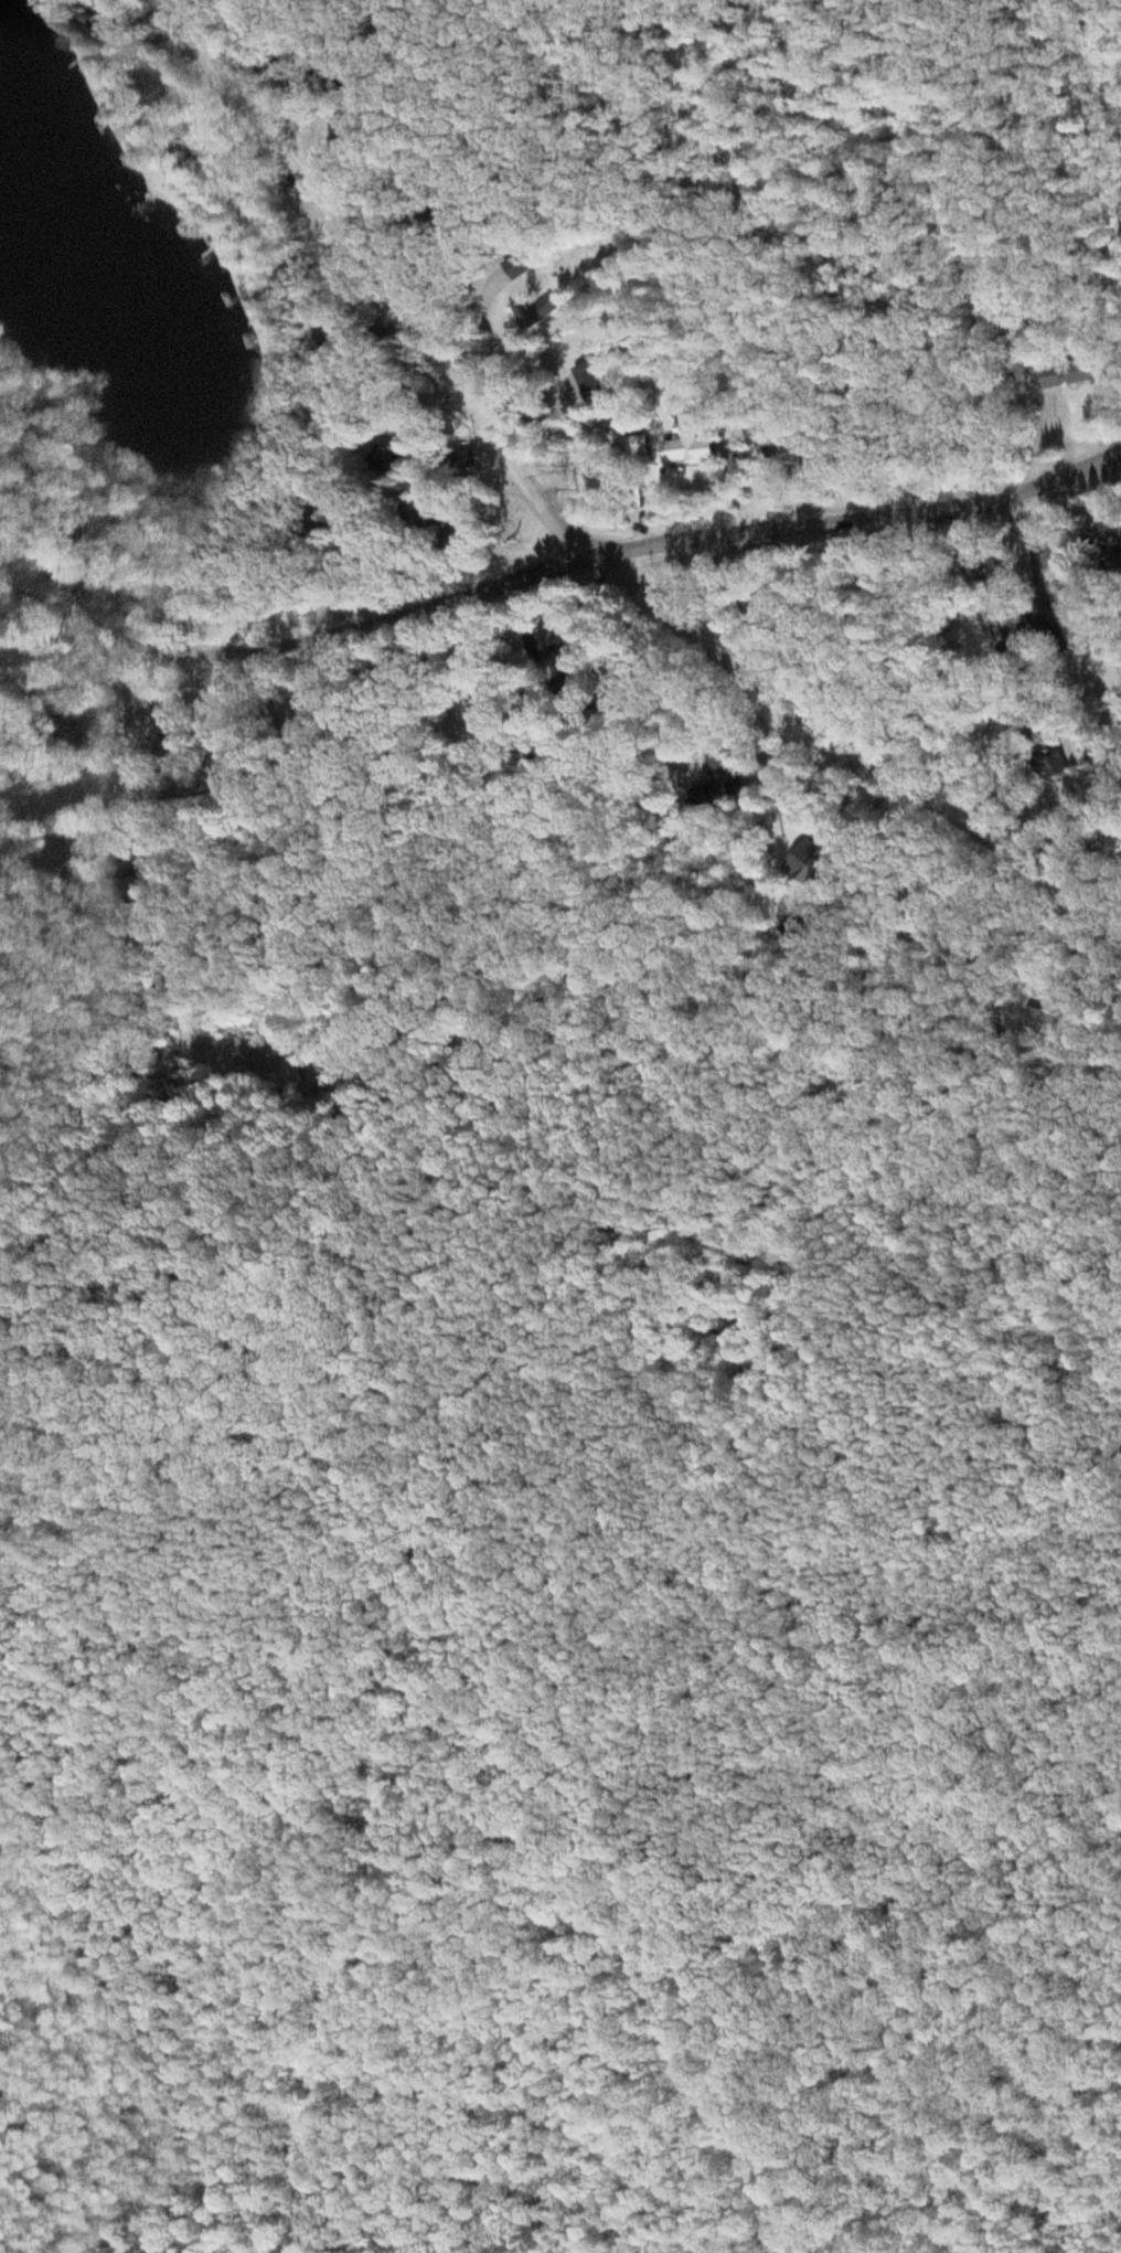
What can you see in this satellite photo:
building: (337, 84)
building: (544, 315)
building: (1083, 376)
building: (596, 383)
building: (696, 453)
building: (393, 460)
road: (592, 528)
road: (555, 552)
road: (1075, 574)
building: (1038, 630)
road: (221, 708)
road: (111, 771)
building: (732, 782)
road: (677, 1092)

